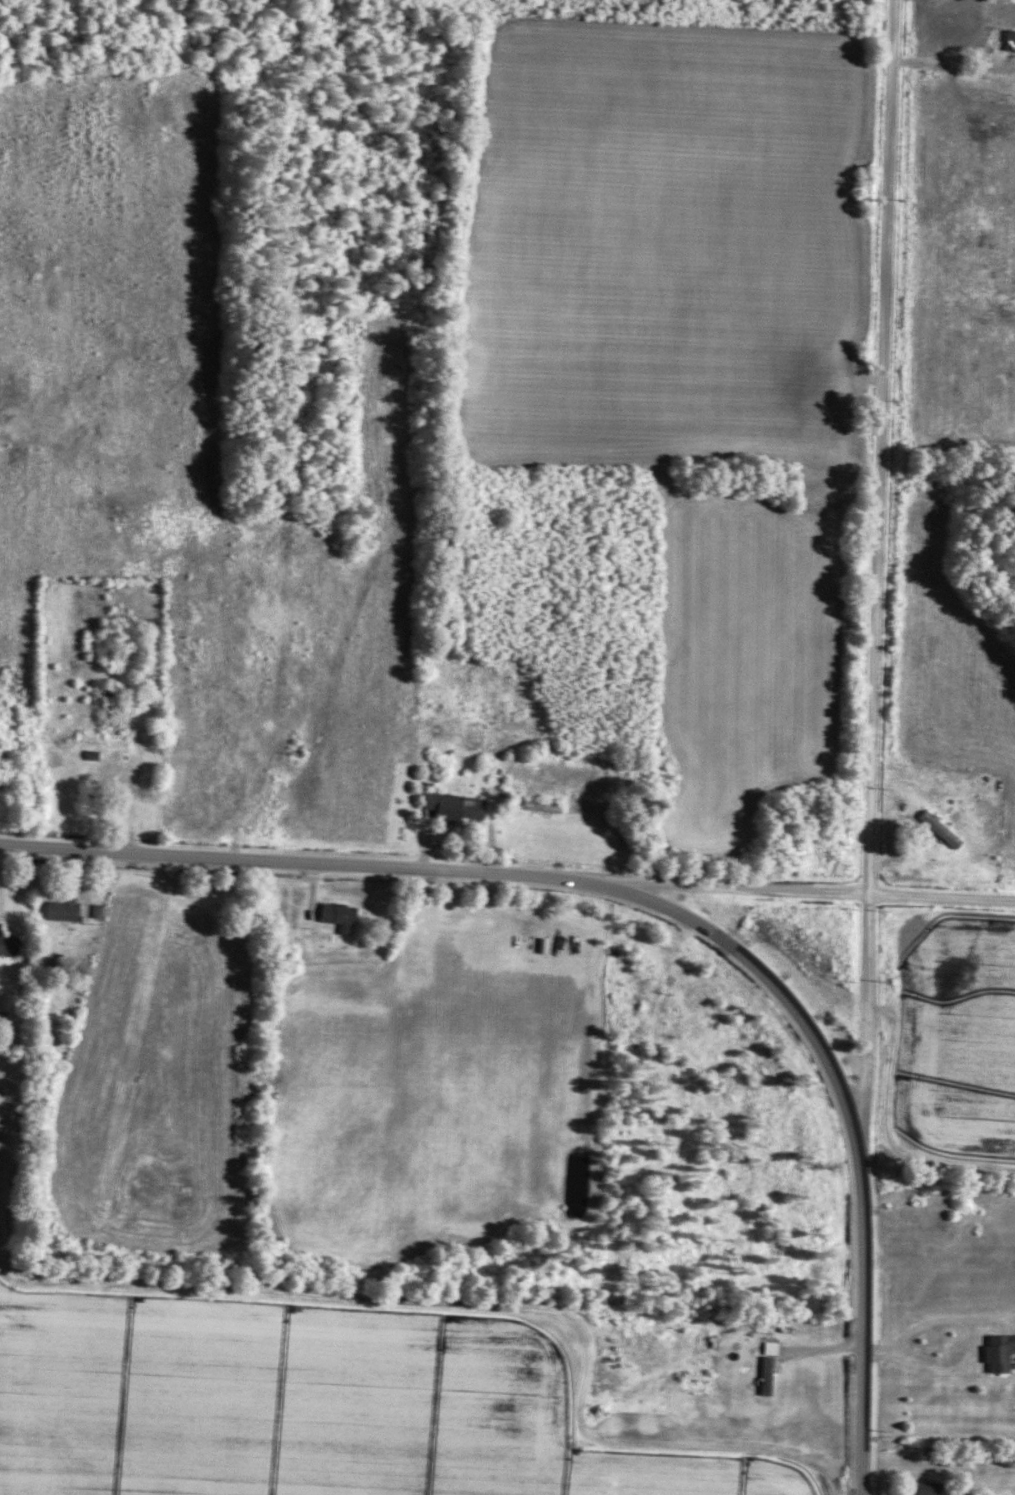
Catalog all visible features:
building: (932, 33)
building: (1007, 40)
road: (954, 68)
road: (875, 580)
building: (103, 695)
building: (113, 770)
building: (446, 806)
building: (536, 806)
road: (804, 890)
road: (663, 905)
building: (61, 908)
building: (333, 916)
building: (7, 945)
building: (917, 995)
building: (995, 1352)
building: (762, 1376)
building: (921, 1488)

